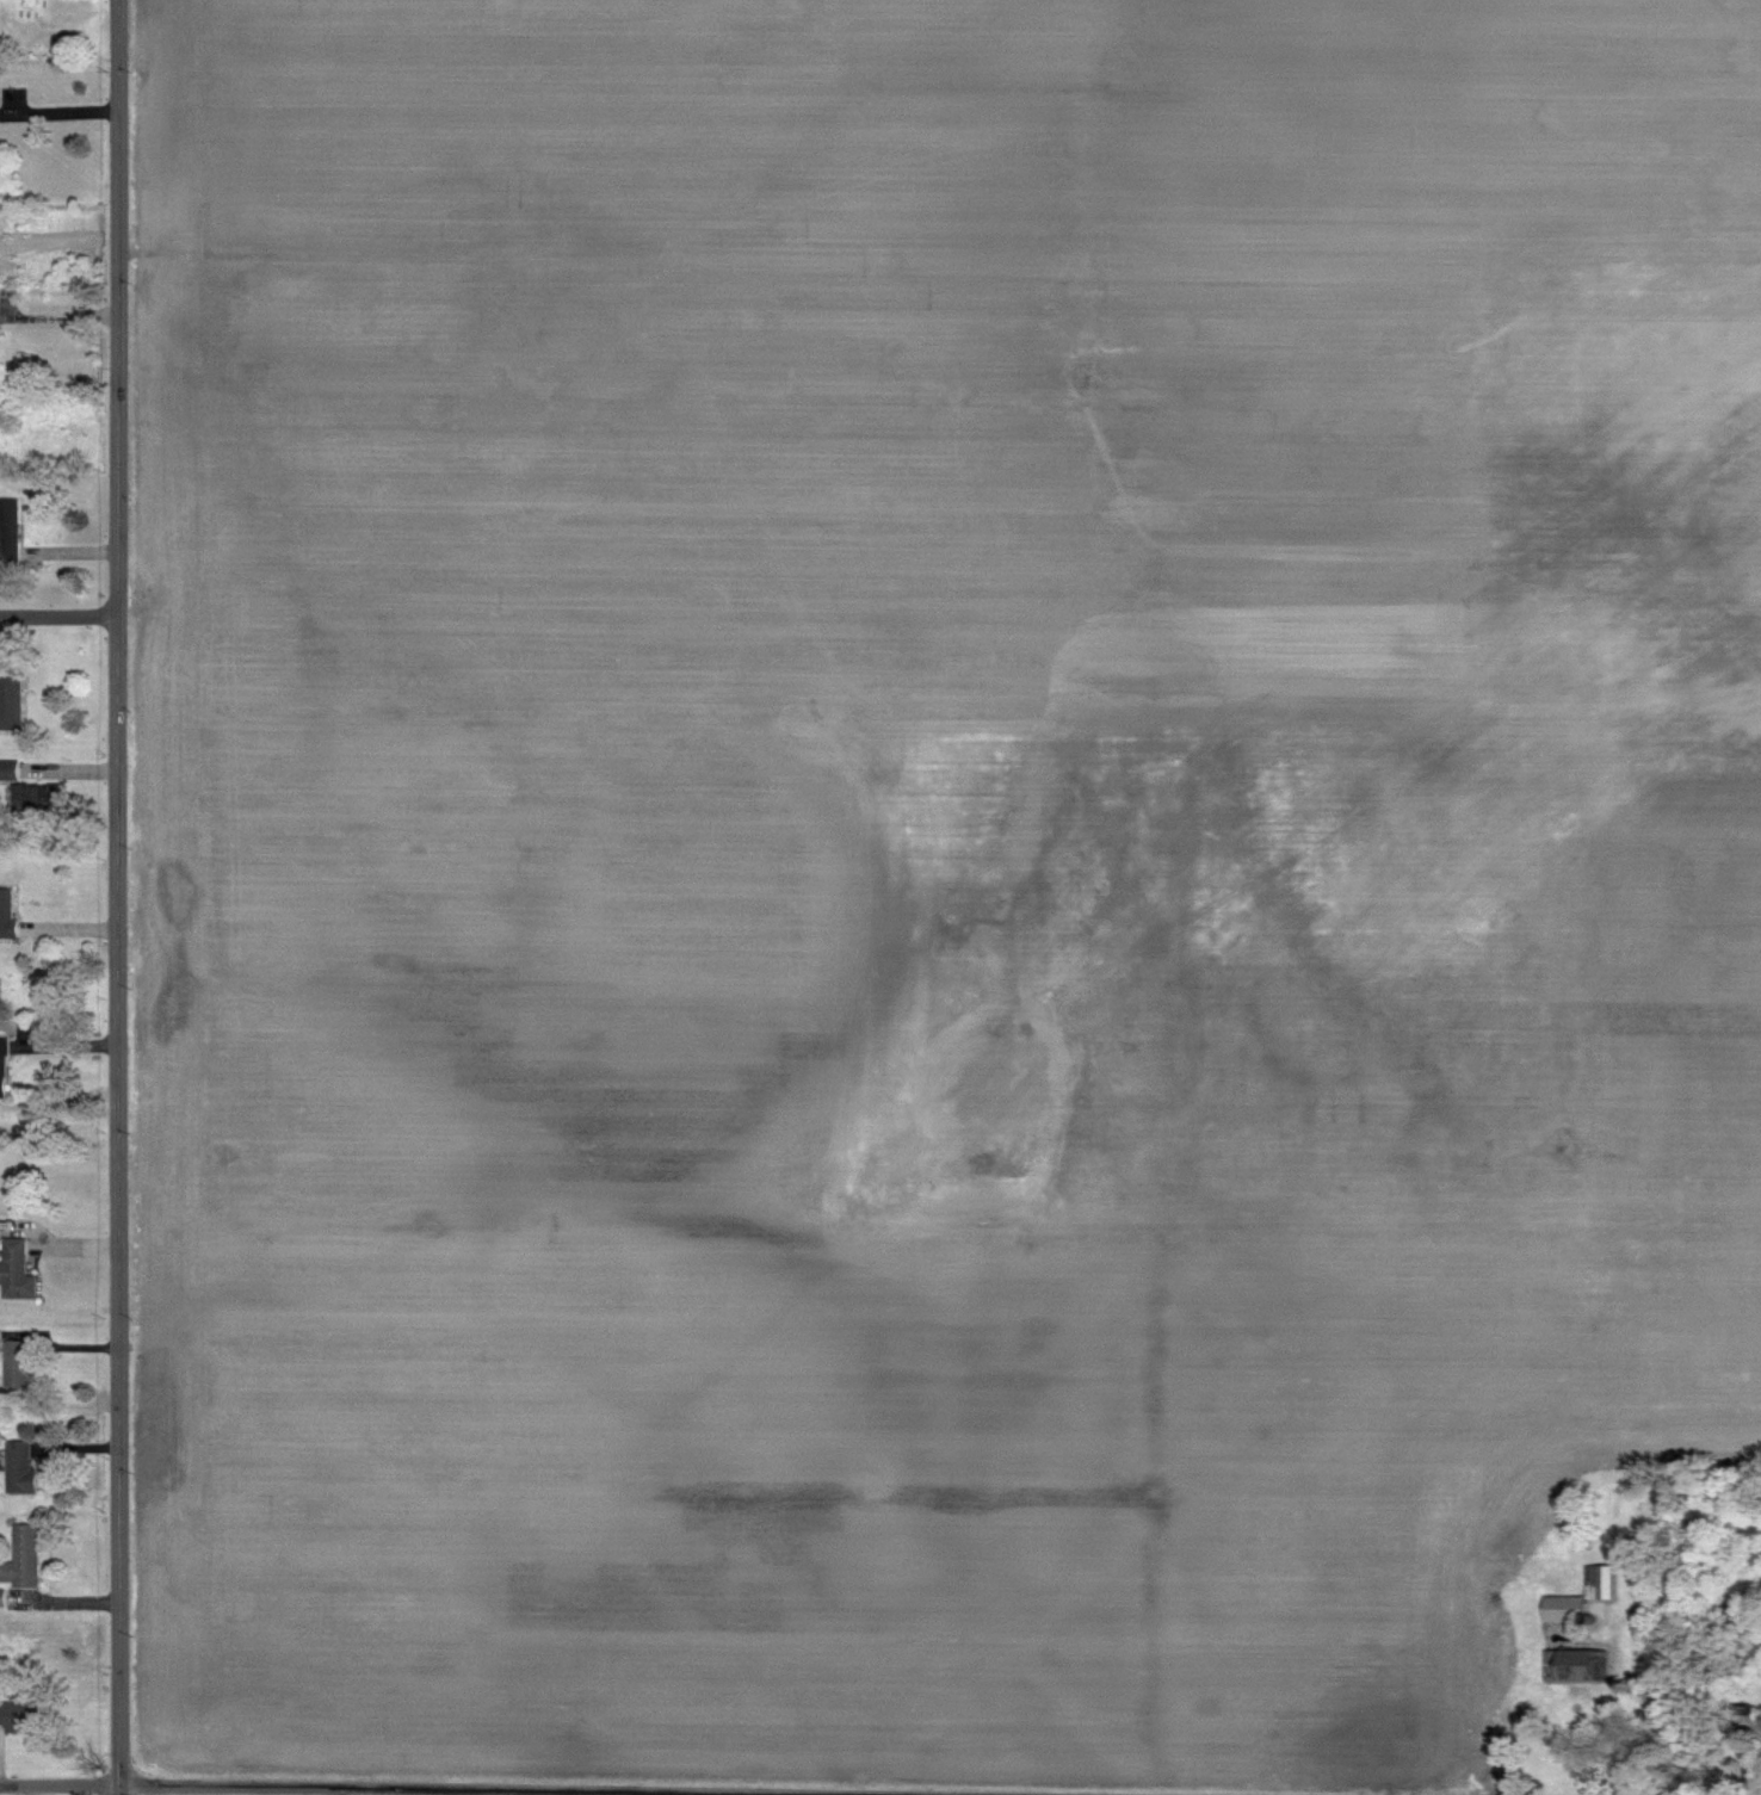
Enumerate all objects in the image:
road: (58, 110)
road: (60, 314)
building: (12, 538)
road: (60, 619)
building: (11, 699)
building: (10, 769)
building: (38, 797)
road: (119, 897)
building: (7, 912)
building: (2, 1067)
building: (16, 1271)
building: (17, 1368)
building: (18, 1467)
building: (20, 1558)
building: (1599, 1582)
building: (1, 1598)
building: (1562, 1609)
building: (1568, 1666)
building: (19, 1716)
road: (357, 1789)

